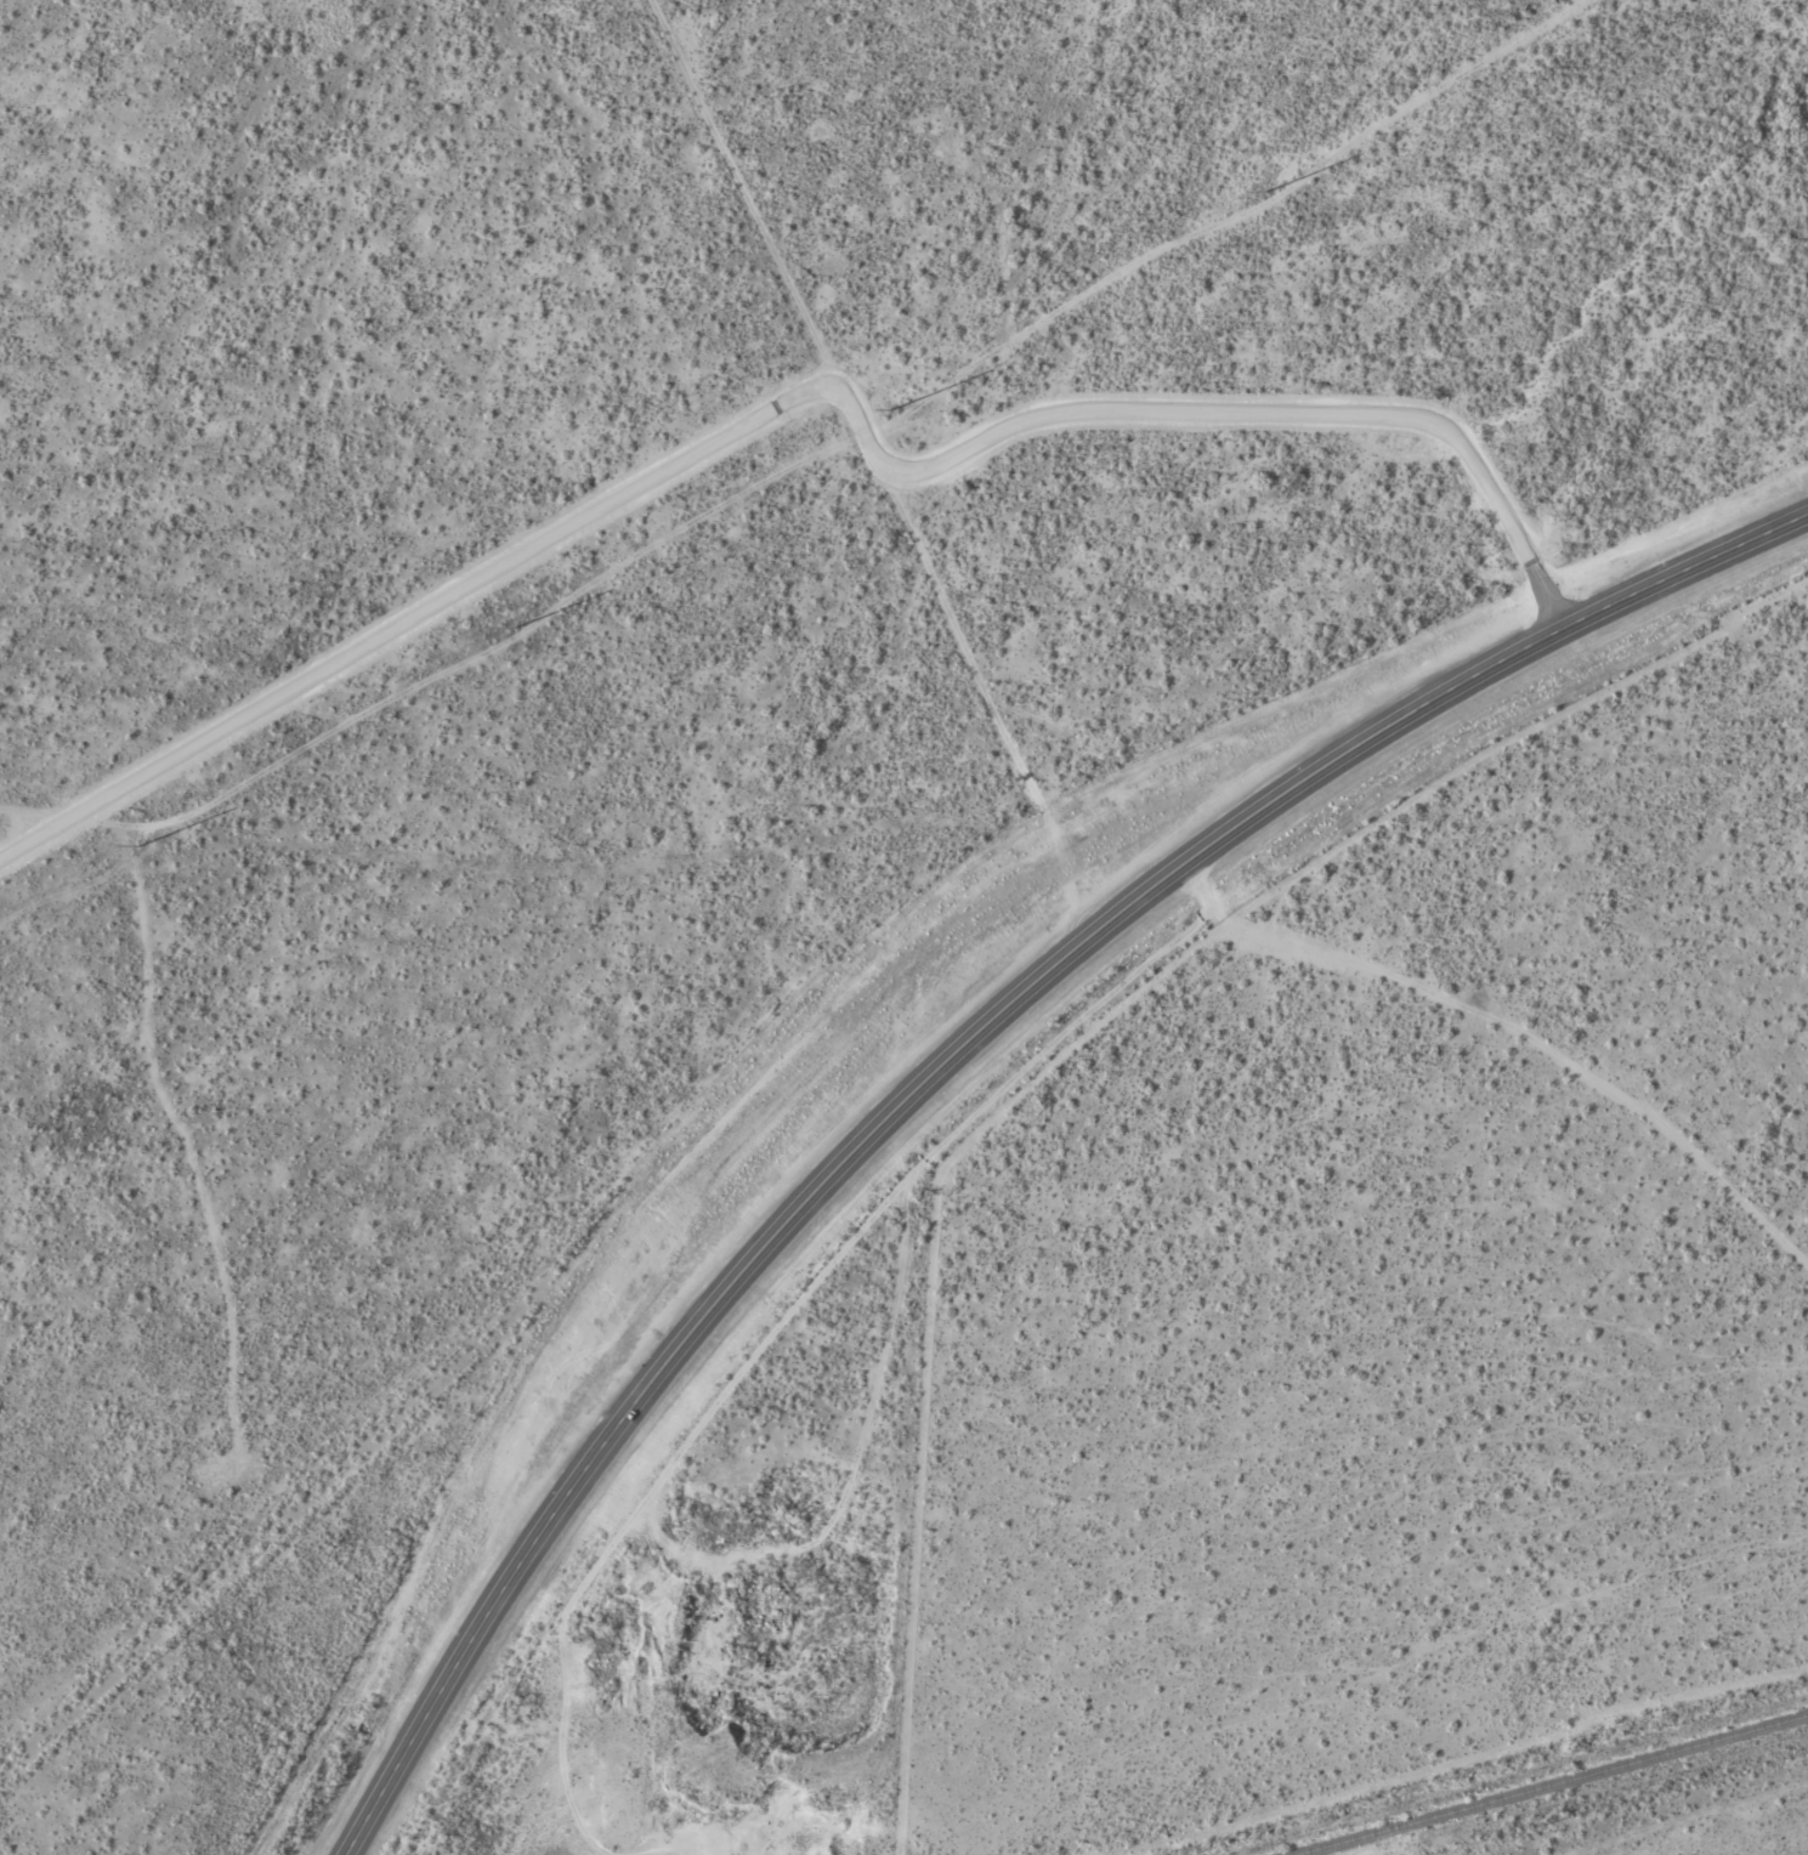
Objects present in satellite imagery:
power tower: (1264, 192)
road: (811, 395)
power tower: (889, 409)
road: (879, 461)
power tower: (514, 629)
power tower: (136, 845)
road: (539, 870)
road: (965, 1055)
railway: (1548, 1785)
road: (1676, 1820)

